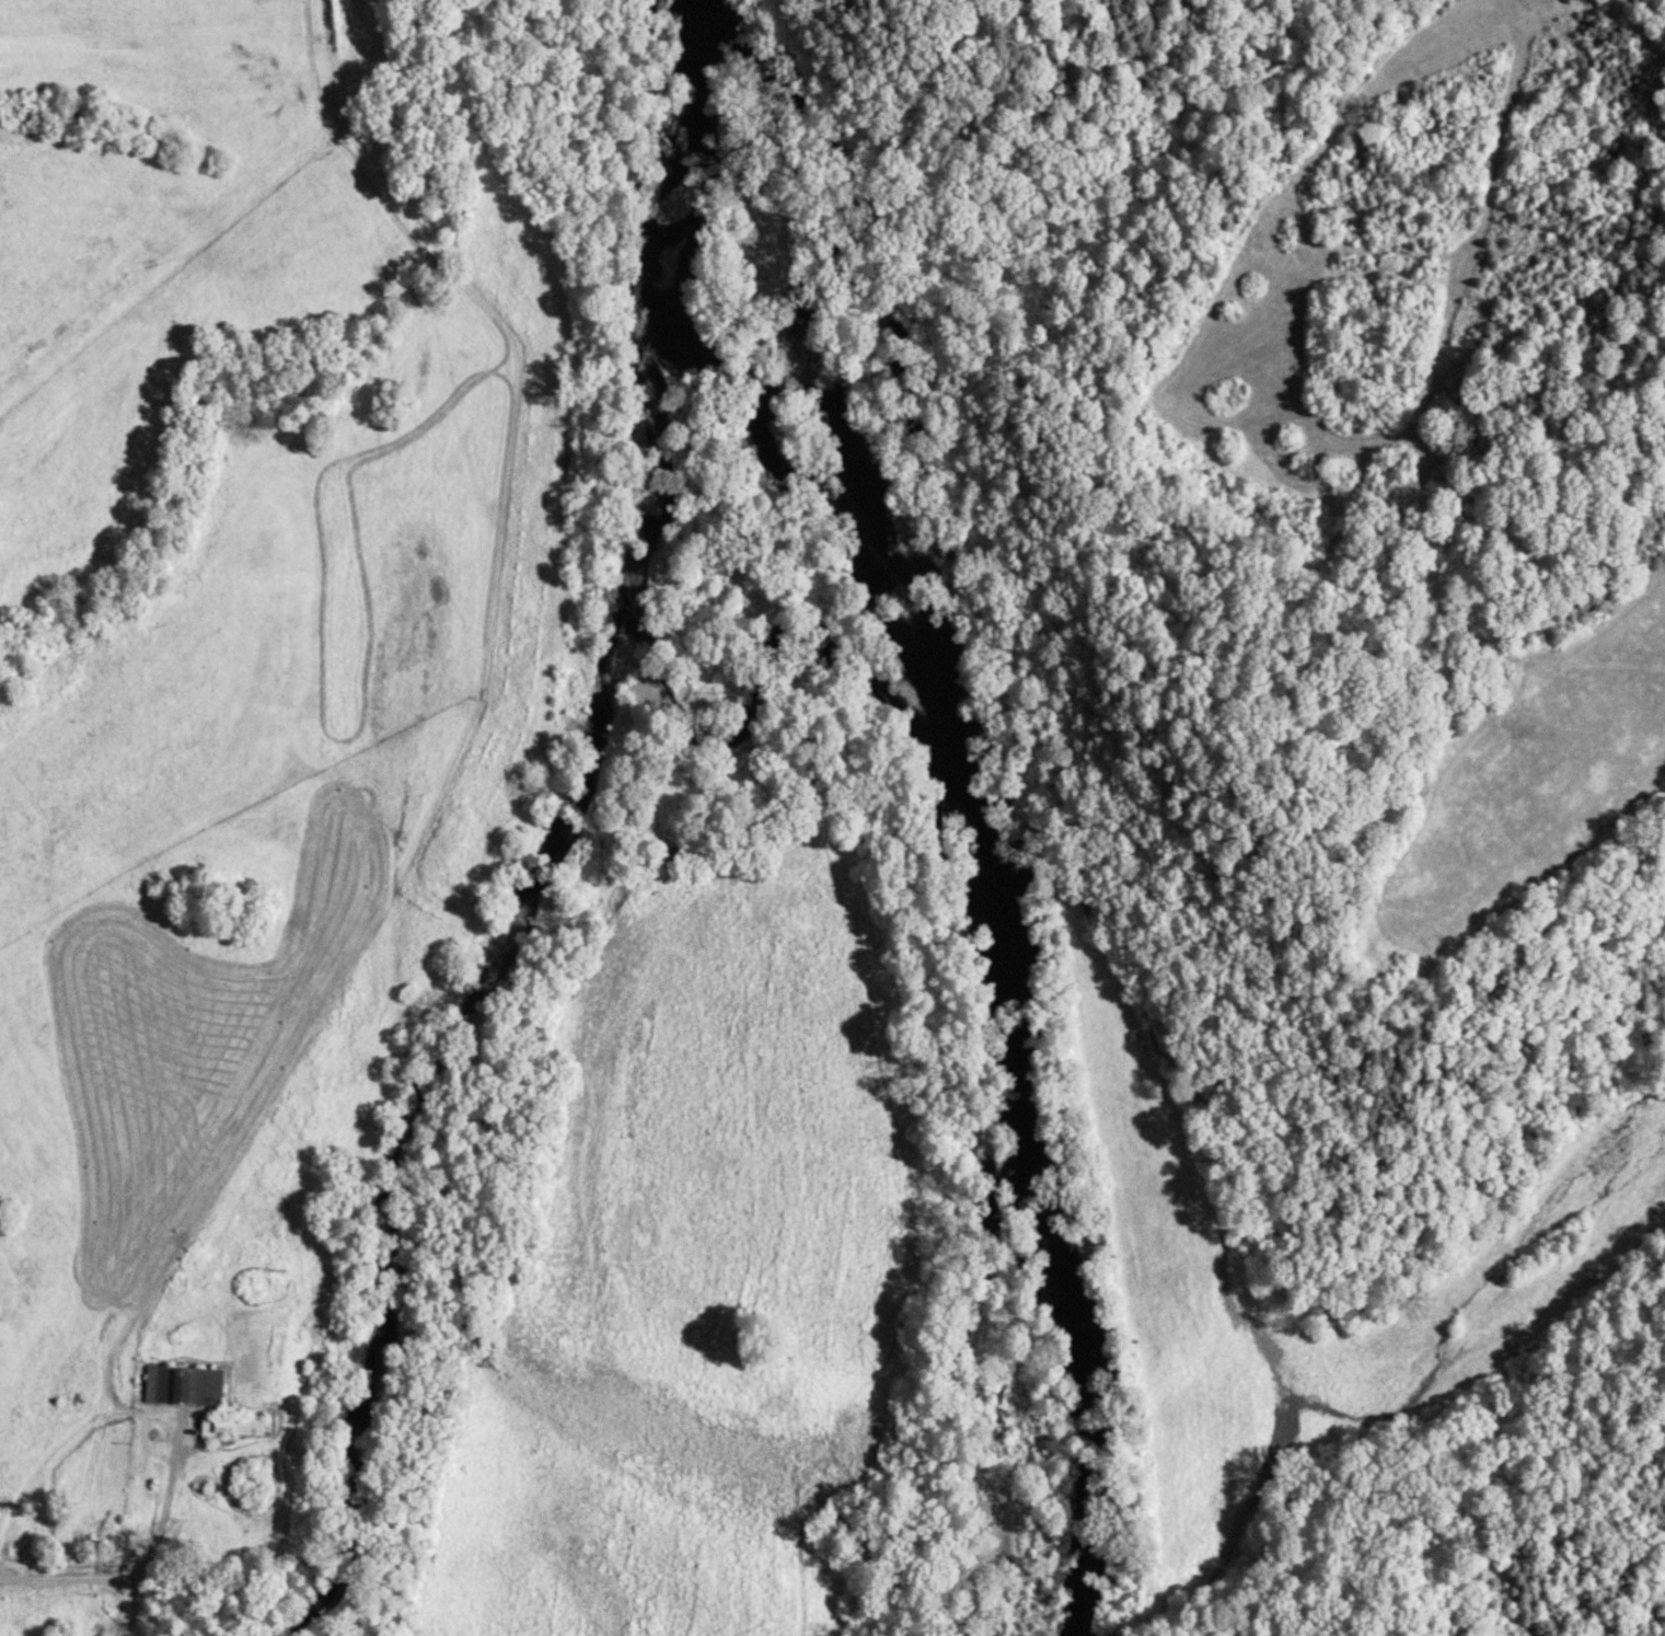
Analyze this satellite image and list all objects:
river: (952, 787)
road: (160, 1424)
road: (71, 1586)

